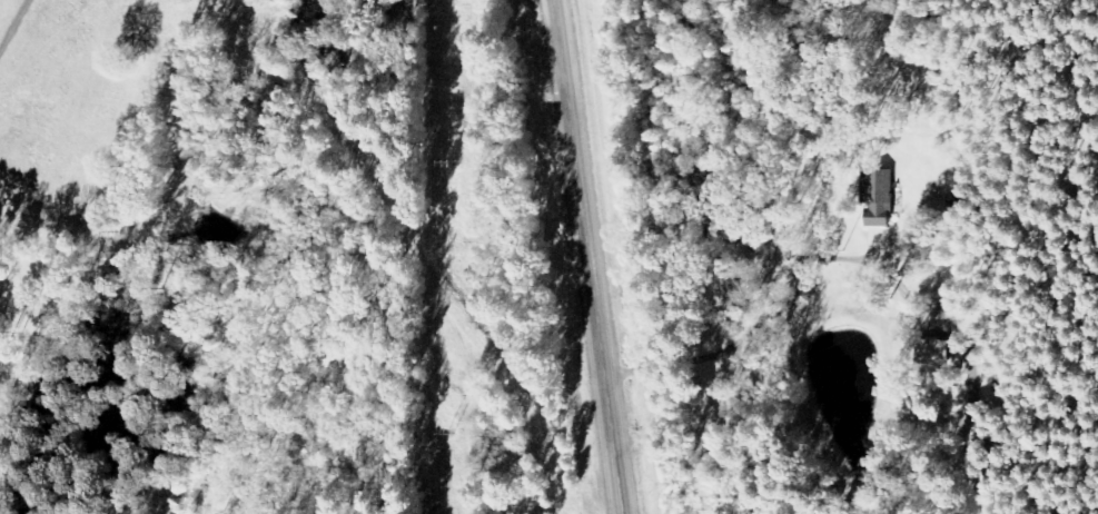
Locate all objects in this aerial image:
power tower: (452, 159)
building: (874, 196)
road: (590, 257)
building: (931, 352)
power tower: (451, 433)

